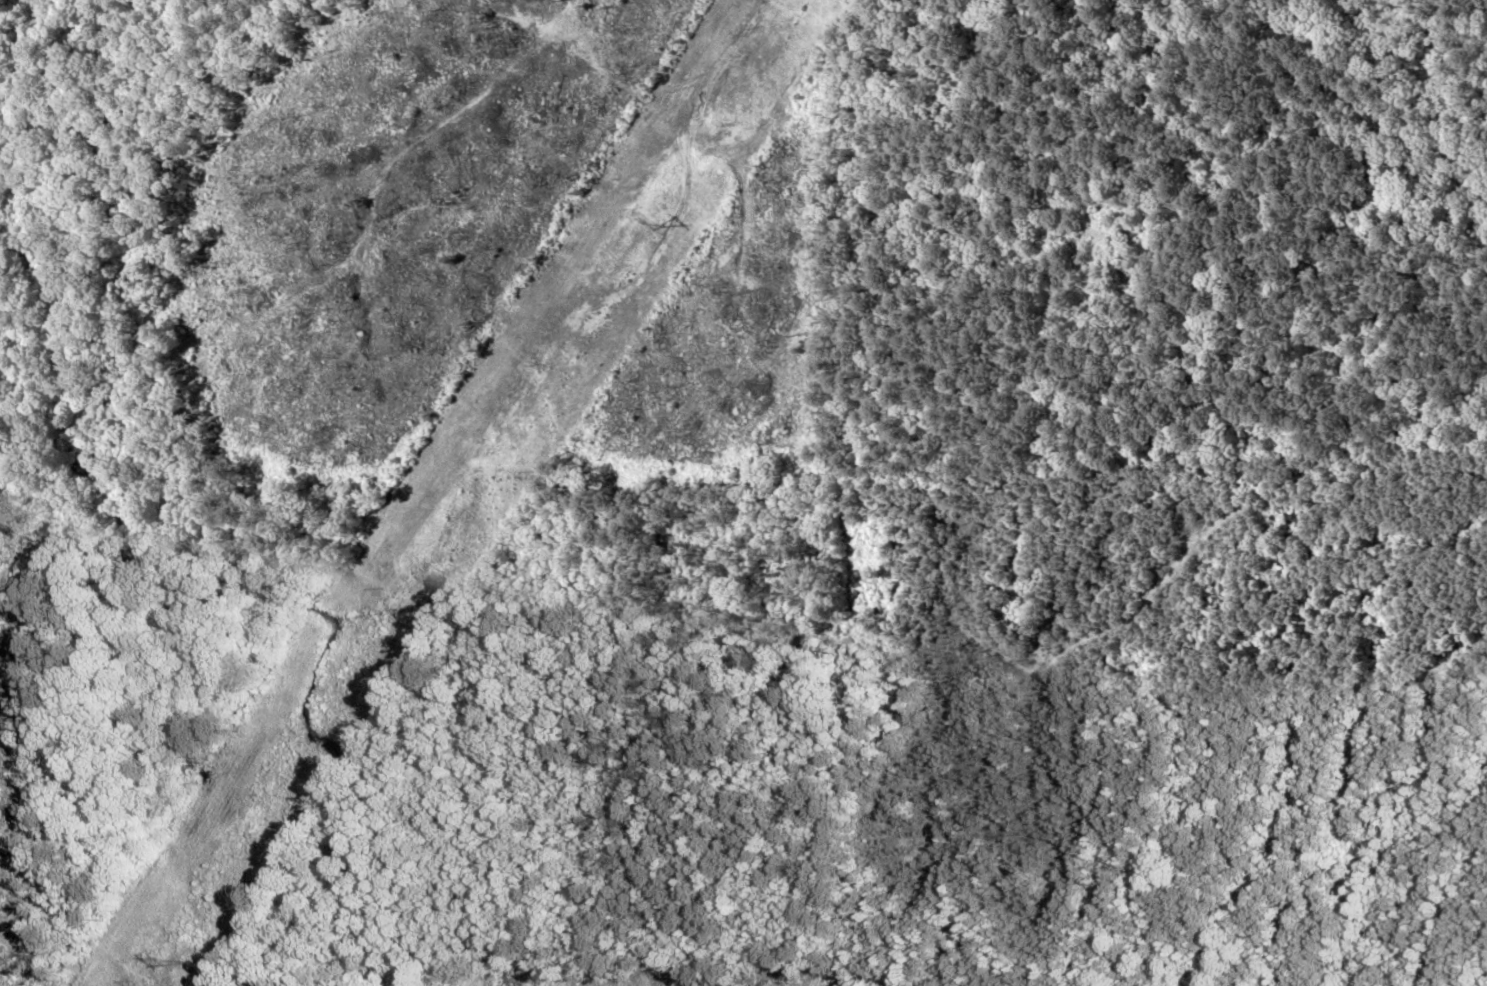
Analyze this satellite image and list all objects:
road: (1059, 75)
power tower: (664, 227)
road: (1371, 496)
power tower: (186, 961)

